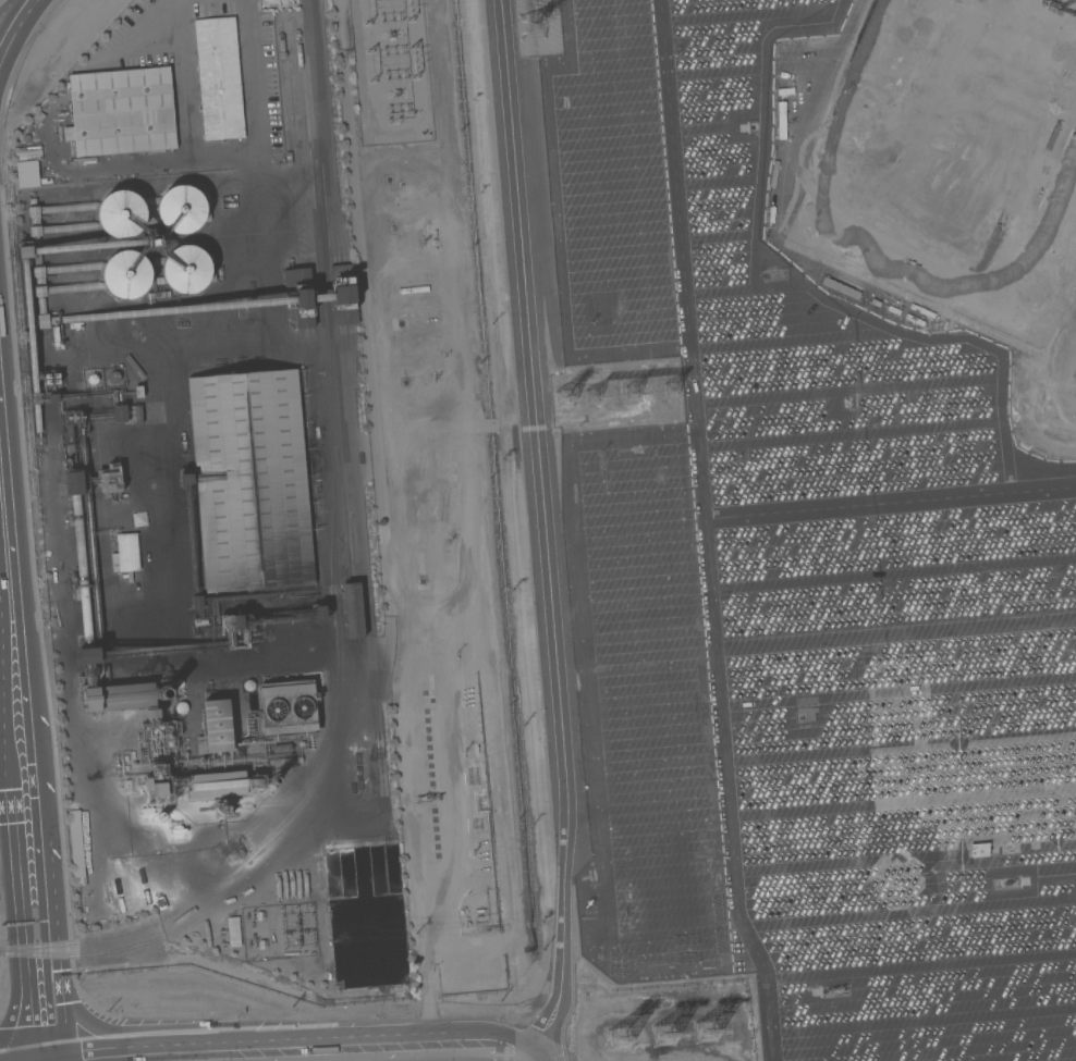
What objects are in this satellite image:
road: (3, 3)
road: (14, 25)
power tower: (531, 27)
power substation: (391, 72)
building: (218, 77)
building: (121, 112)
building: (38, 116)
road: (221, 155)
building: (27, 174)
railway: (303, 186)
railway: (302, 187)
building: (181, 209)
building: (120, 214)
building: (154, 242)
building: (185, 269)
building: (125, 274)
railway: (318, 281)
building: (91, 318)
building: (350, 319)
building: (113, 378)
building: (91, 379)
building: (51, 380)
power tower: (668, 391)
power tower: (628, 394)
building: (56, 398)
power tower: (589, 398)
power tower: (561, 399)
building: (119, 414)
building: (72, 418)
road: (704, 431)
railway: (323, 443)
railway: (344, 476)
building: (109, 479)
building: (185, 479)
building: (249, 480)
building: (73, 483)
railway: (382, 502)
road: (541, 531)
building: (124, 553)
building: (81, 588)
railway: (338, 589)
building: (196, 602)
building: (86, 656)
road: (725, 681)
road: (16, 691)
building: (118, 698)
building: (286, 710)
building: (217, 725)
road: (845, 769)
building: (965, 773)
building: (157, 790)
petroleum well: (421, 798)
building: (74, 843)
building: (894, 880)
road: (41, 912)
building: (233, 930)
road: (25, 932)
power substation: (277, 932)
road: (13, 937)
railway: (130, 948)
road: (45, 953)
road: (39, 984)
road: (46, 1029)
power tower: (702, 1033)
power tower: (661, 1036)
road: (473, 1046)
road: (323, 1054)
road: (527, 1059)

